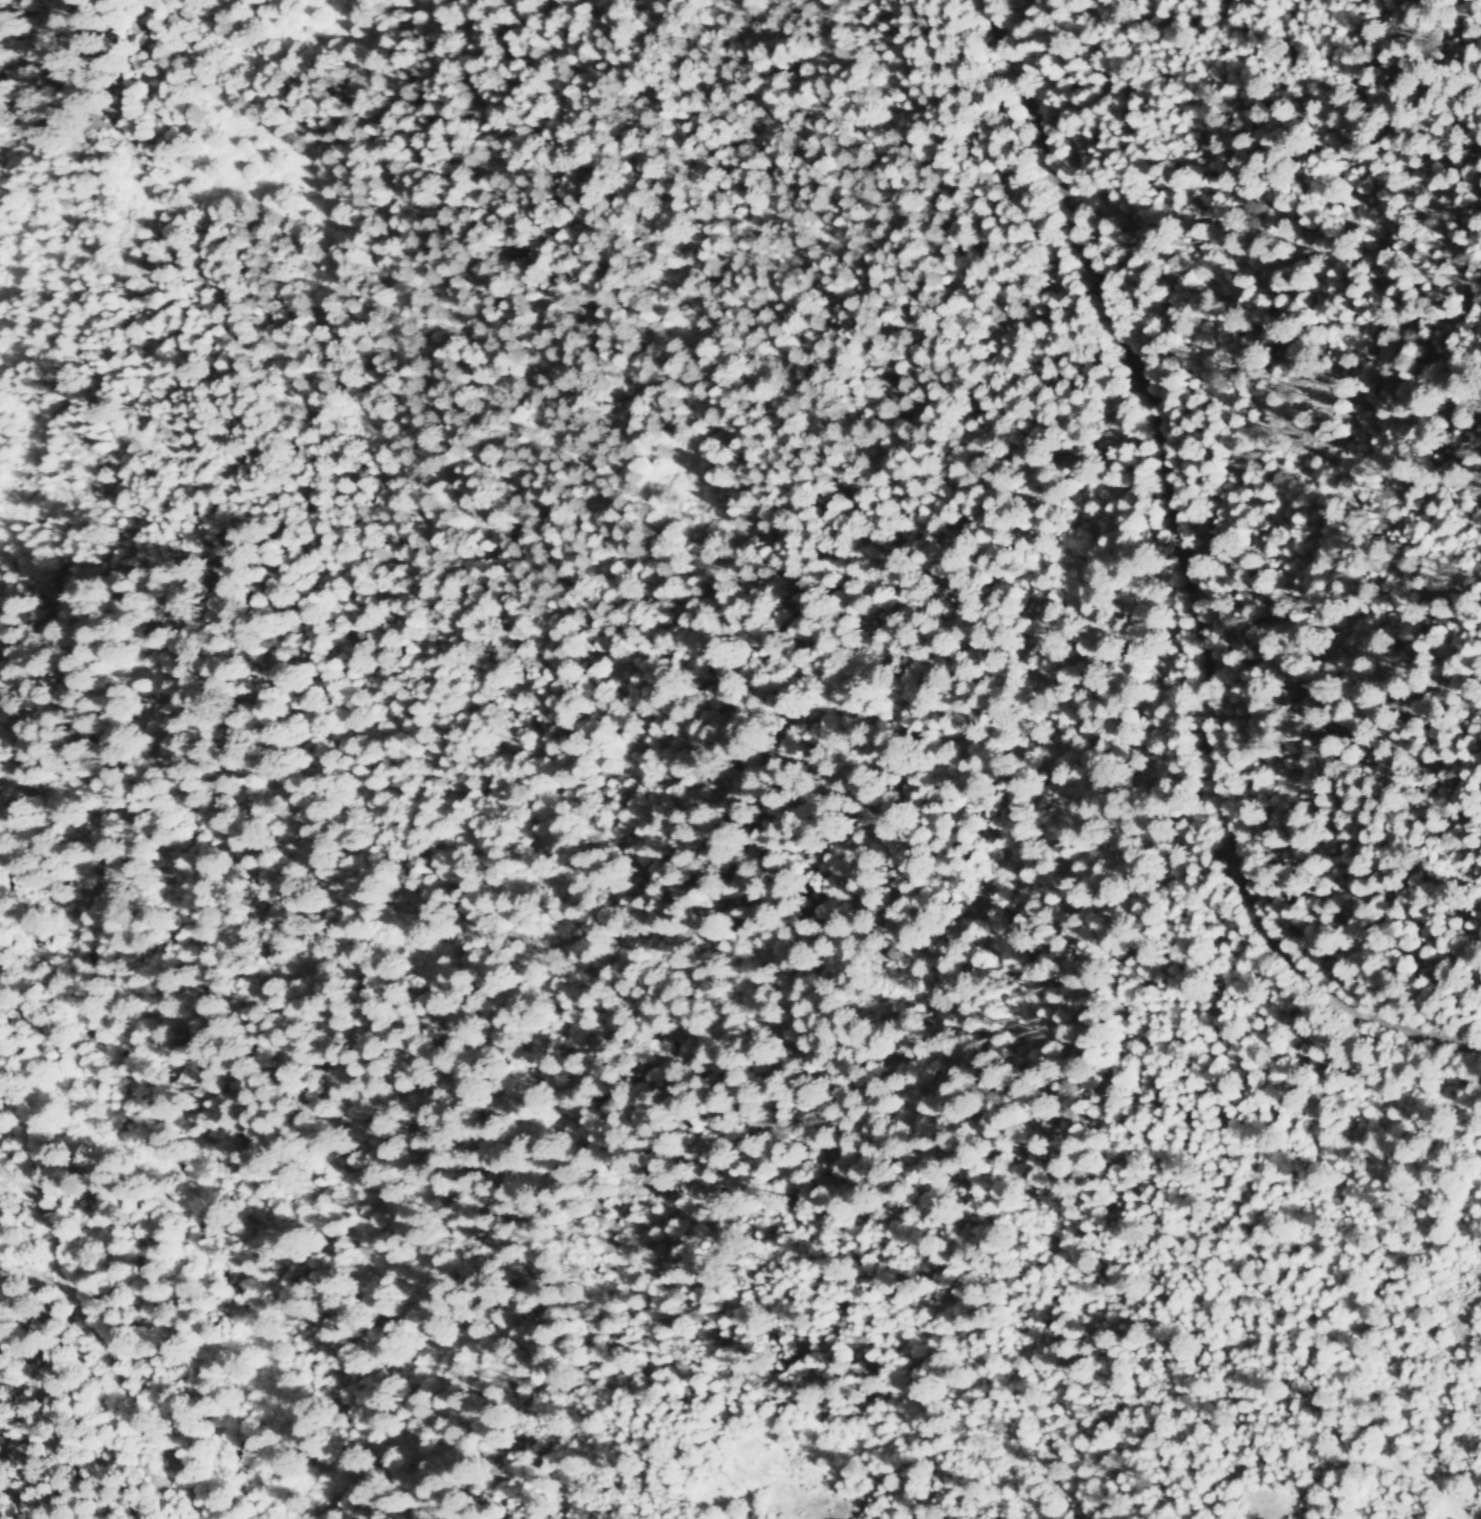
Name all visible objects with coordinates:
road: (1183, 580)
road: (108, 1345)
road: (949, 1453)
road: (1370, 1467)

